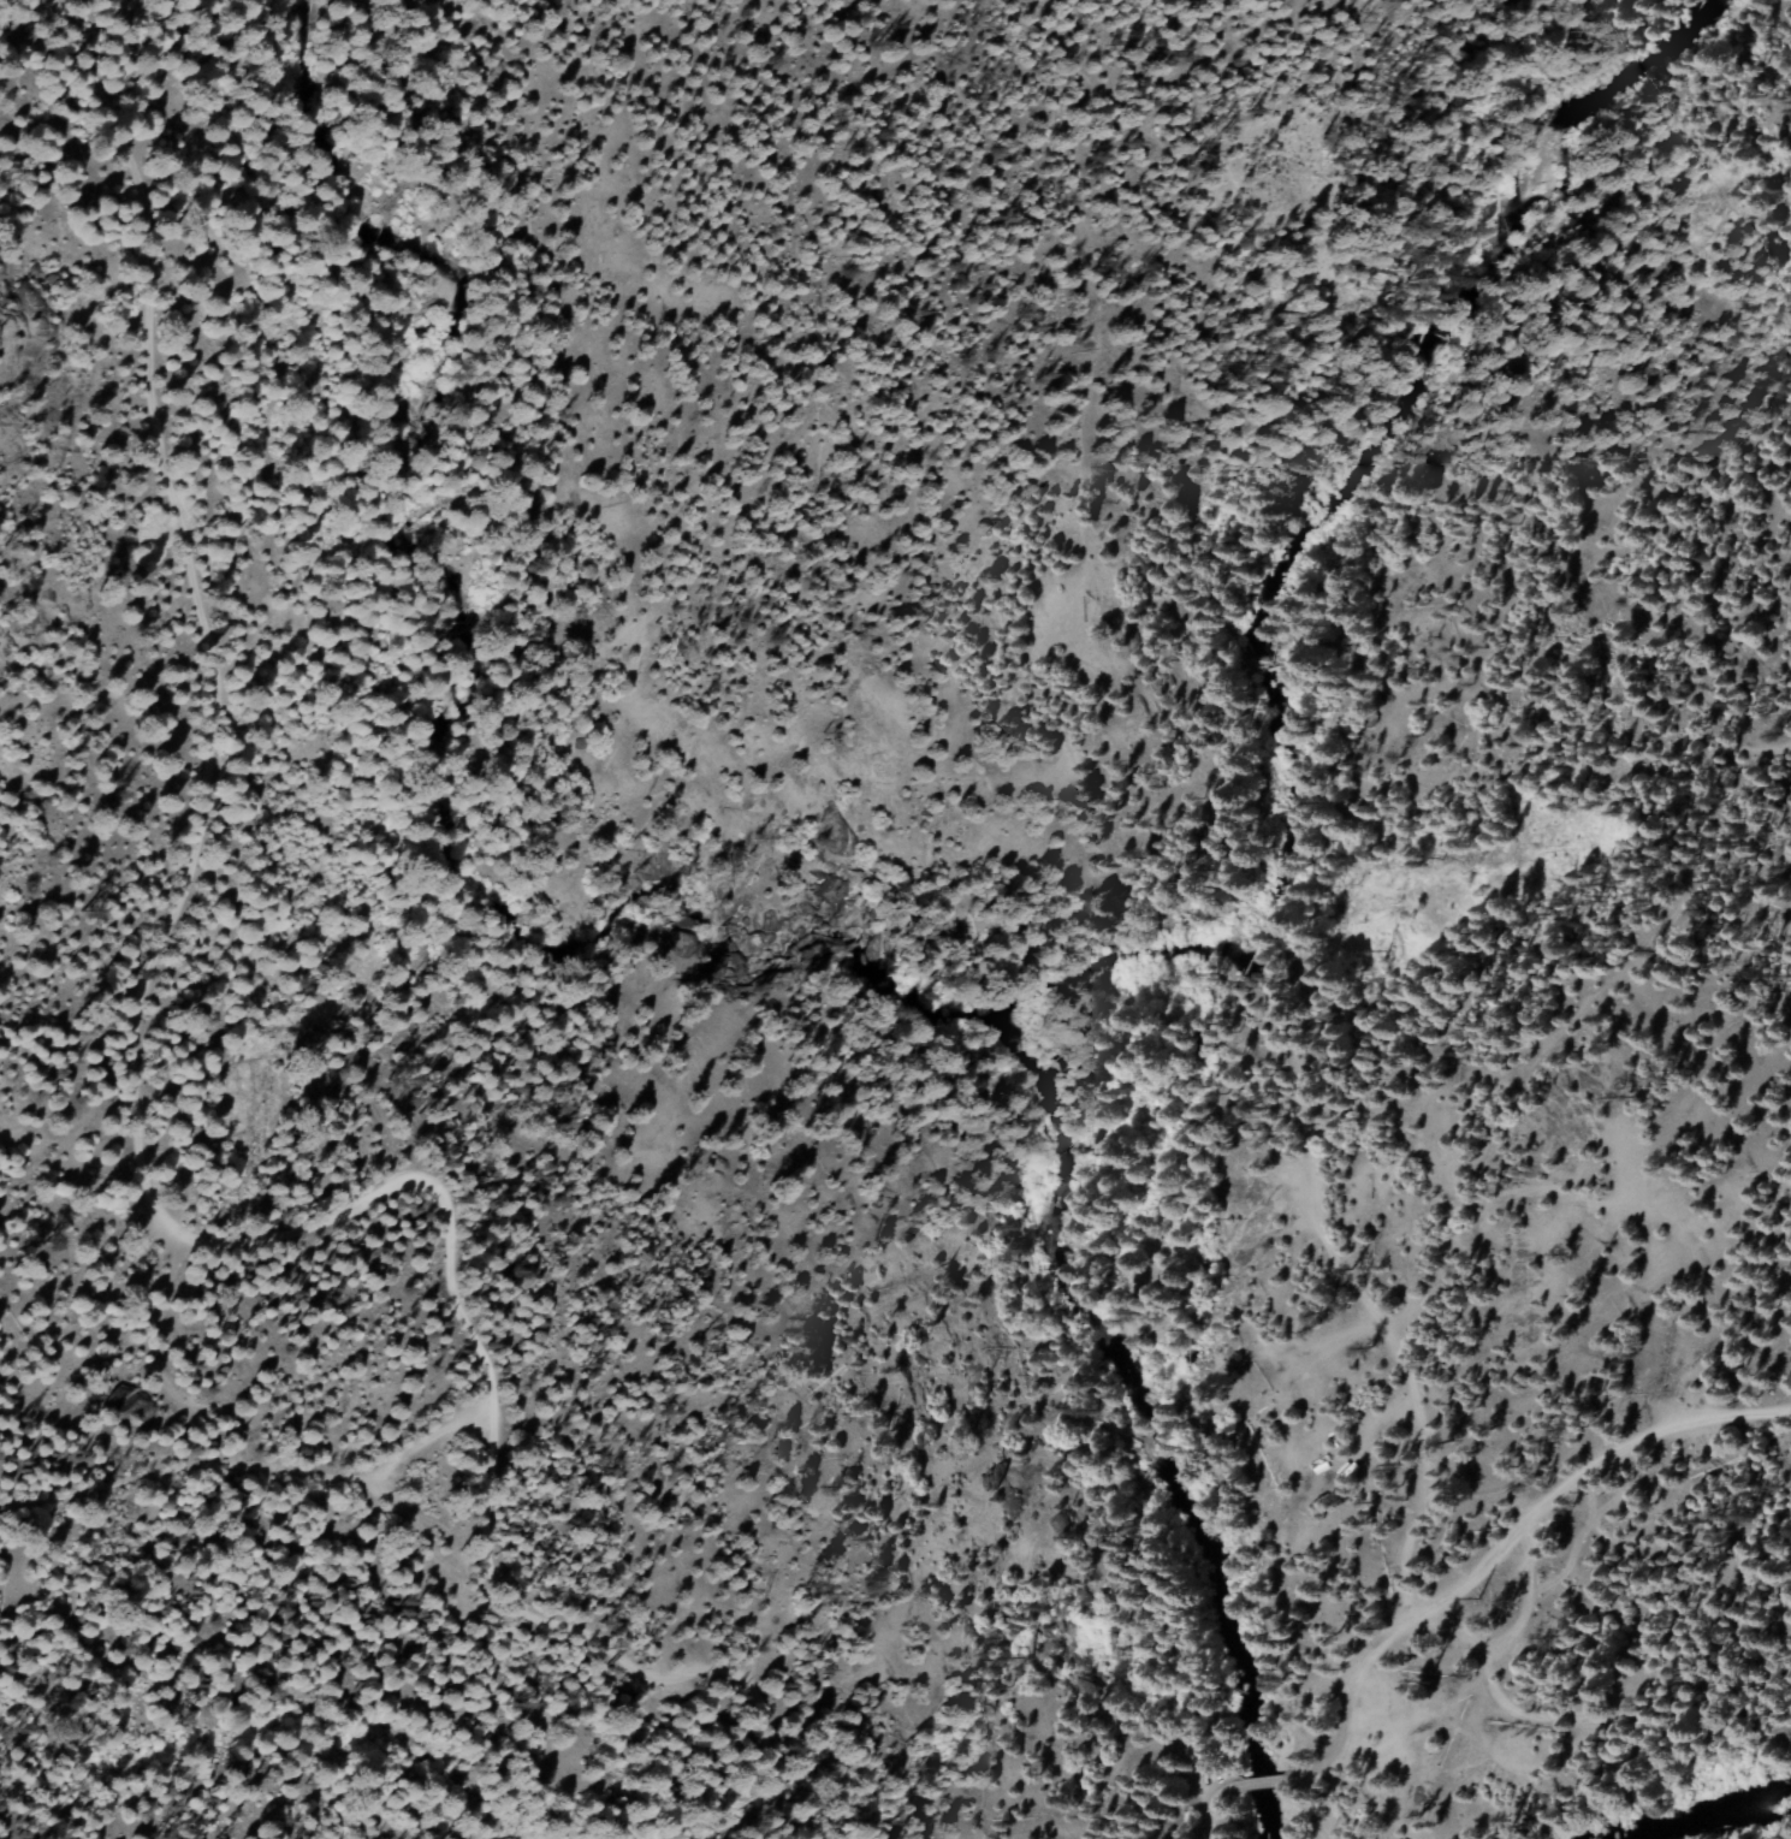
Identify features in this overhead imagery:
road: (374, 38)
road: (140, 1176)
road: (1384, 1324)
road: (251, 1471)
road: (1513, 1541)
road: (1269, 1779)
road: (1204, 1810)

